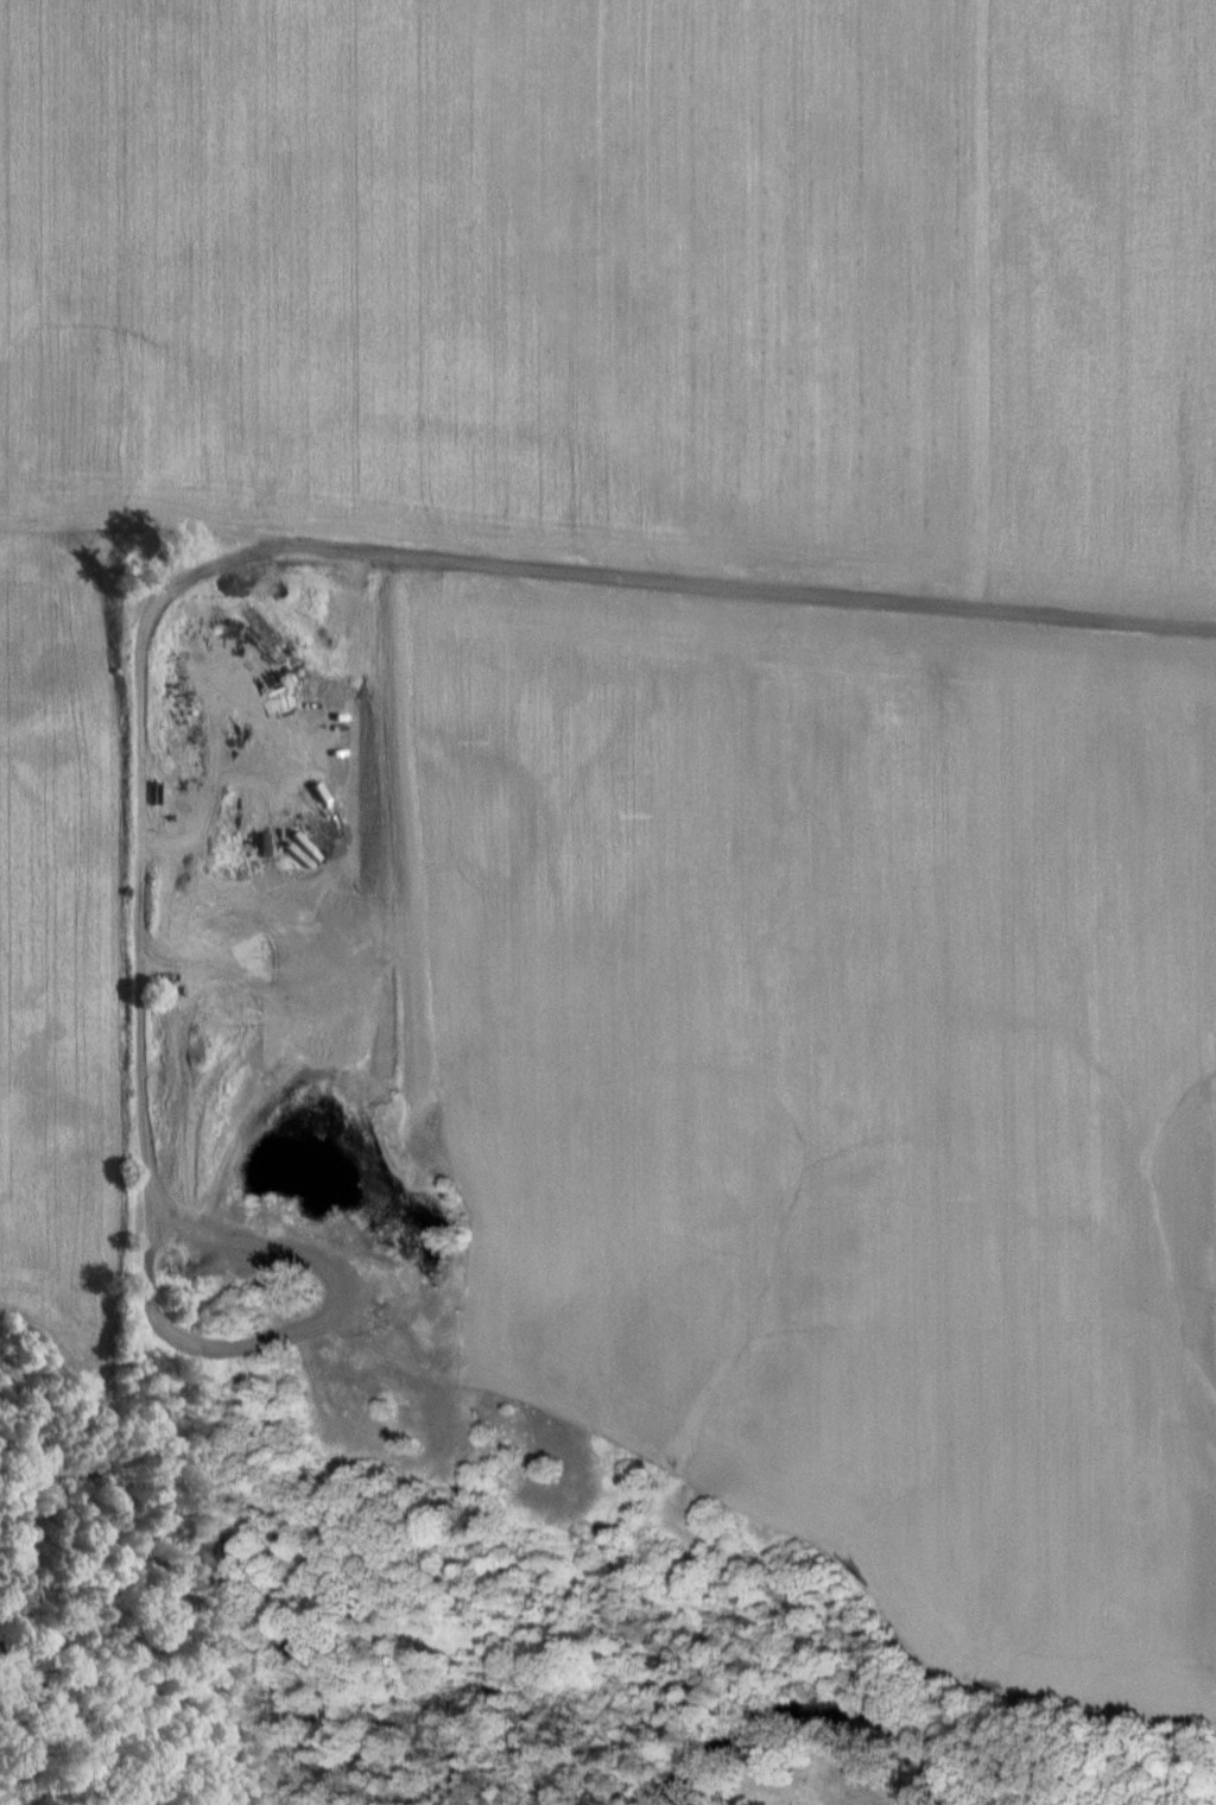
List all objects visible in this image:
road: (167, 520)

